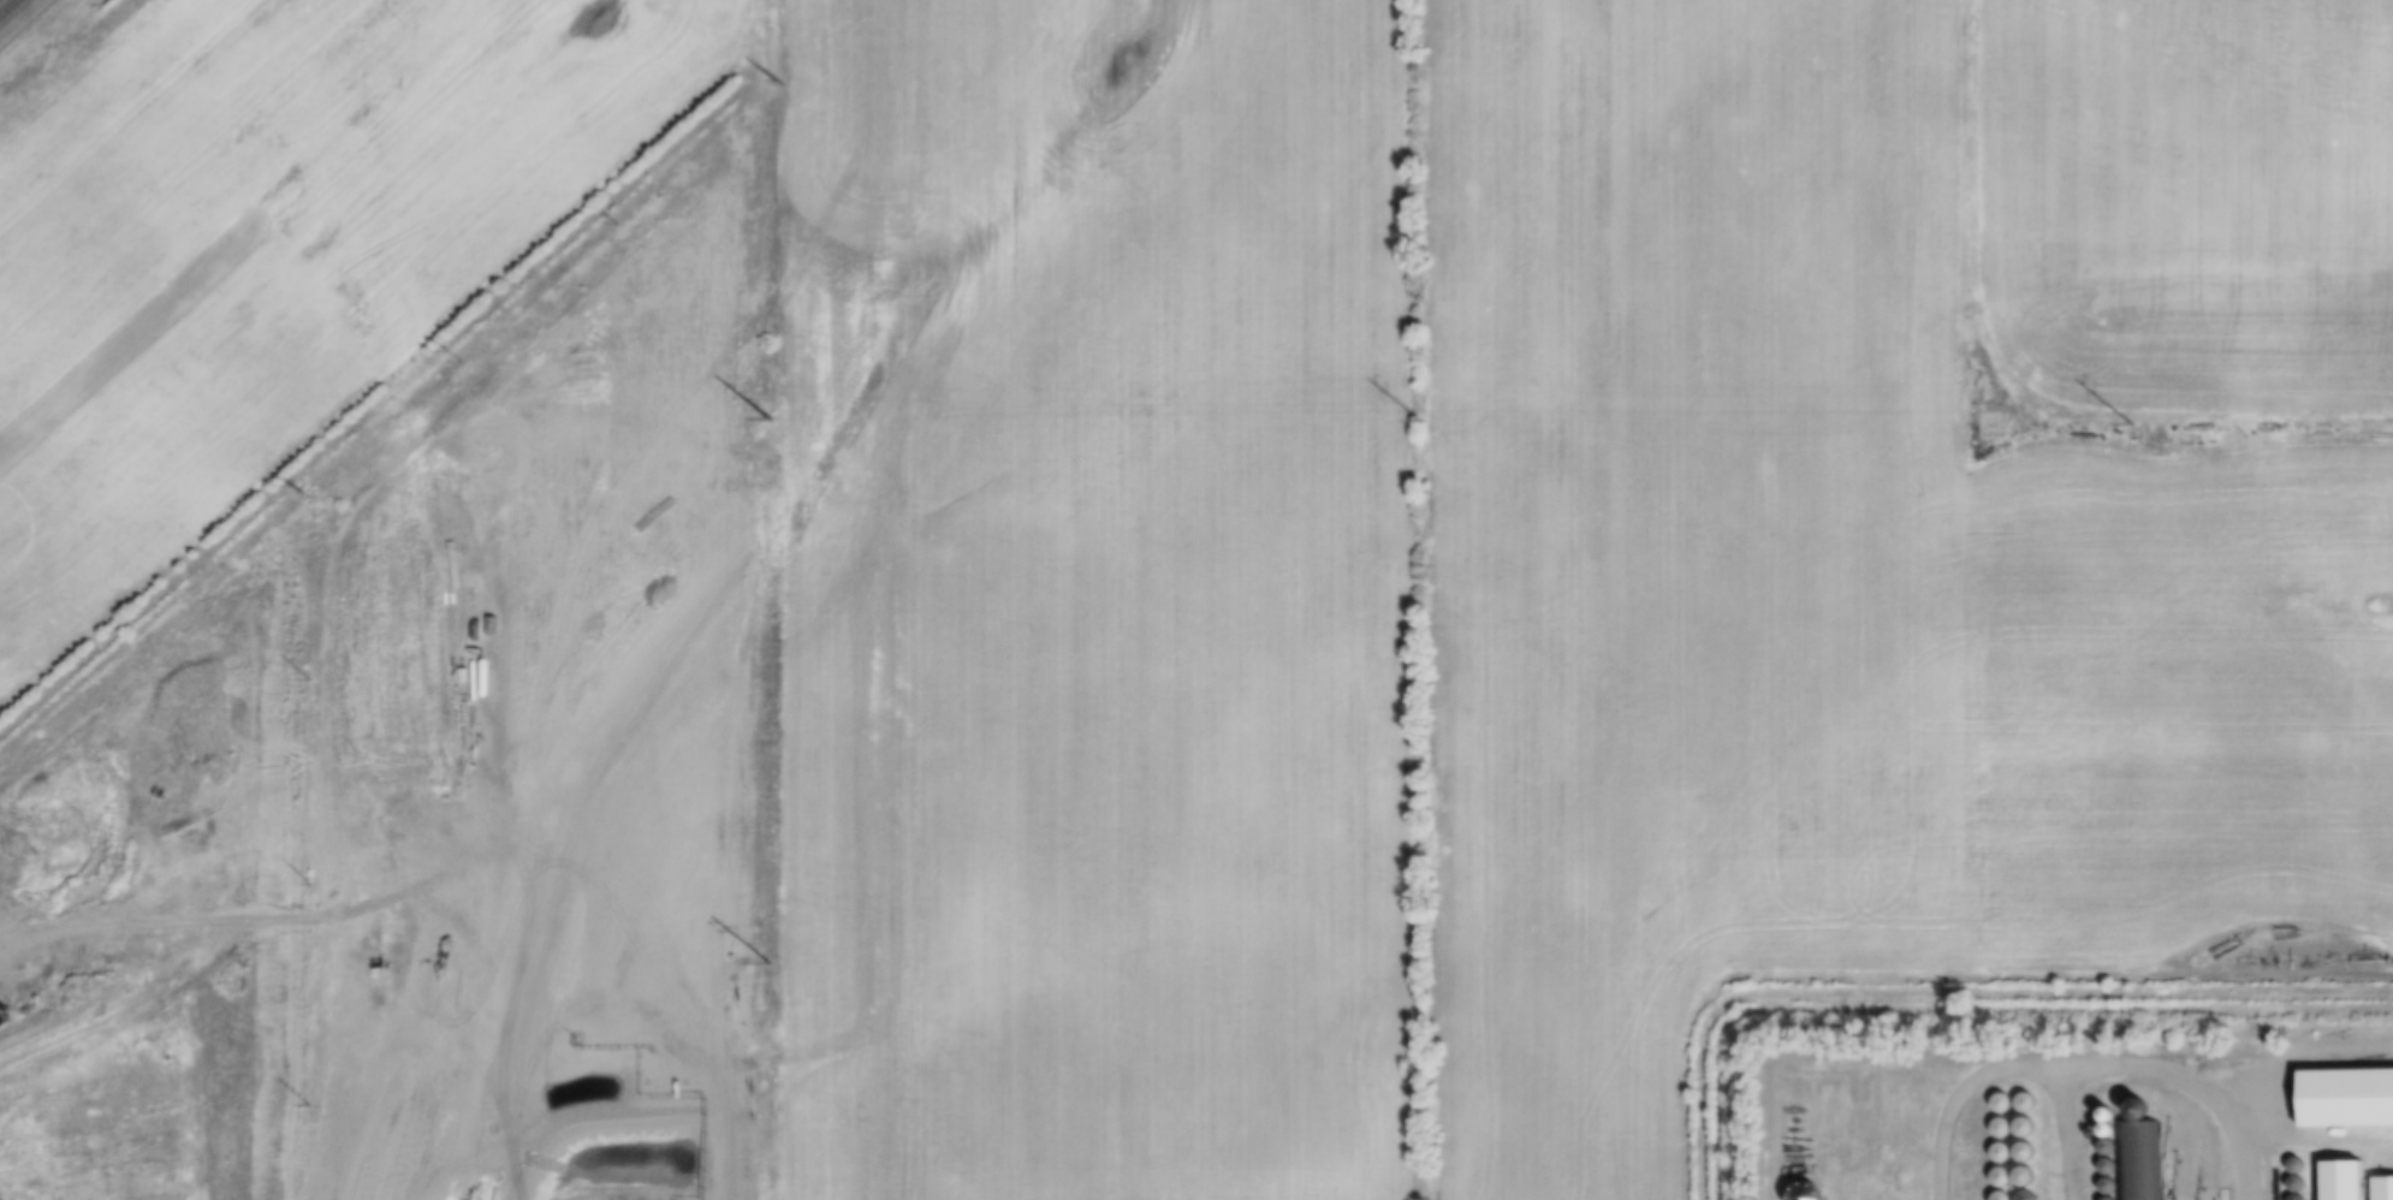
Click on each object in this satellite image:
railway: (0, 0)
railway: (10, 8)
power tower: (768, 418)
power tower: (1421, 420)
power tower: (2127, 422)
power tower: (770, 961)
road: (2091, 1067)
building: (1893, 1097)
building: (2005, 1098)
silo: (2005, 1098)
building: (2030, 1098)
silo: (2030, 1098)
building: (2347, 1098)
building: (2142, 1107)
silo: (2142, 1107)
building: (2110, 1115)
silo: (2110, 1115)
building: (2005, 1122)
silo: (2005, 1122)
building: (2029, 1125)
silo: (2029, 1125)
building: (2112, 1130)
silo: (2112, 1130)
building: (2005, 1146)
silo: (2005, 1146)
building: (2110, 1148)
silo: (2110, 1148)
building: (2029, 1149)
silo: (2029, 1149)
building: (2144, 1159)
building: (2298, 1166)
silo: (2298, 1166)
building: (2110, 1168)
silo: (2110, 1168)
building: (2005, 1171)
silo: (2005, 1171)
building: (2027, 1175)
silo: (2027, 1175)
building: (2344, 1181)
building: (2299, 1184)
silo: (2299, 1184)
building: (2110, 1188)
silo: (2110, 1188)
building: (2005, 1193)
silo: (2005, 1193)
building: (2029, 1193)
silo: (2029, 1193)
building: (2299, 1196)
silo: (2299, 1196)
building: (2113, 1199)
silo: (2113, 1199)

